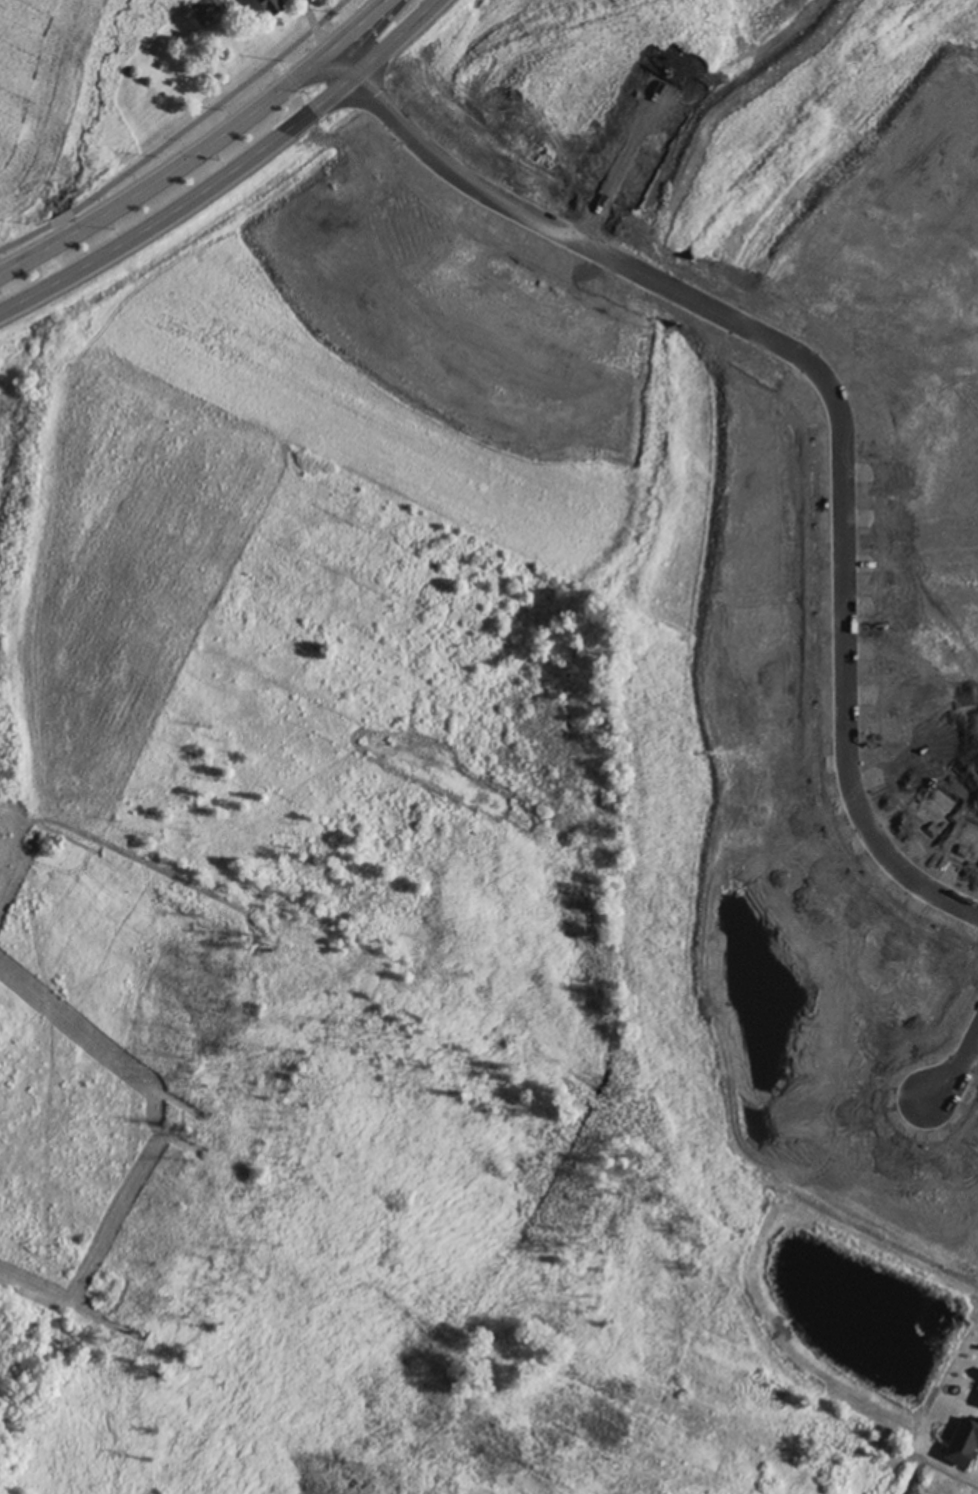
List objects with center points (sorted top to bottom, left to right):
building: (273, 6)
road: (395, 13)
road: (313, 28)
crop: (53, 95)
road: (178, 134)
road: (205, 153)
road: (229, 172)
road: (828, 378)
crop: (273, 970)
road: (957, 1067)
park: (792, 1360)
park: (156, 1441)
building: (963, 1447)

